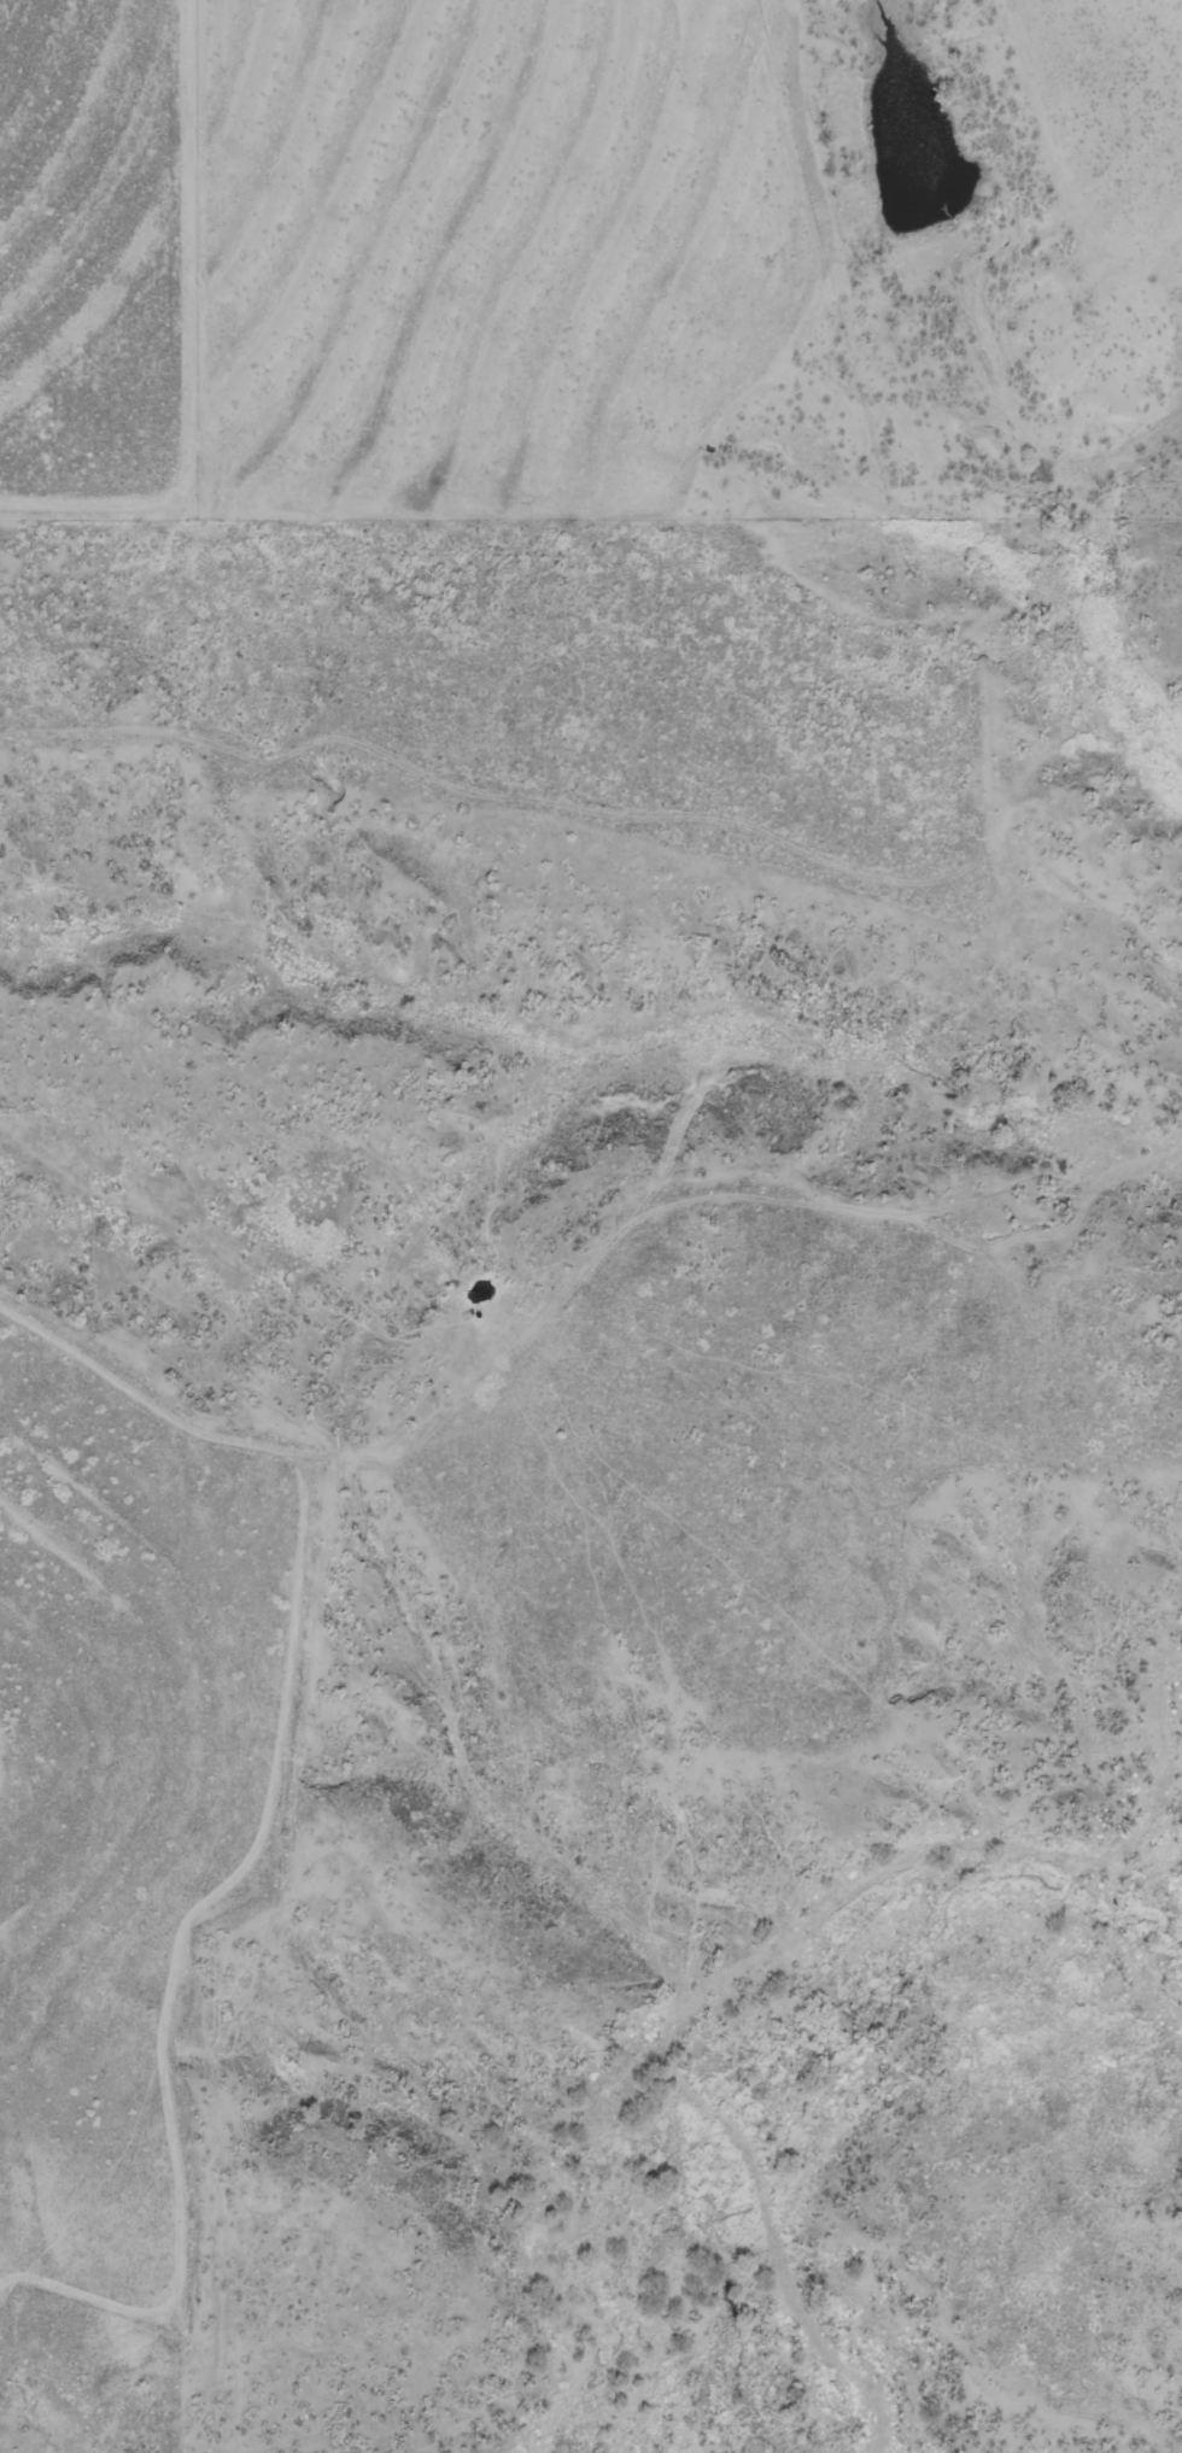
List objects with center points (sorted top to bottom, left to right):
road: (657, 1879)

